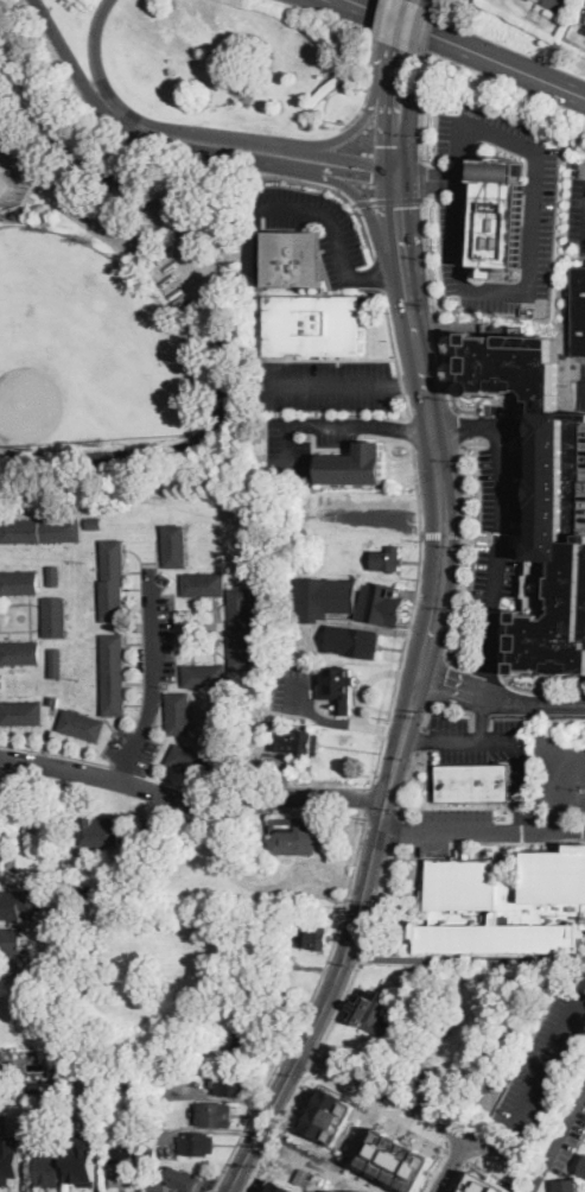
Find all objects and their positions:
building: (541, 0)
parking lot: (577, 0)
road: (553, 2)
road: (409, 24)
road: (379, 32)
road: (430, 42)
road: (469, 47)
road: (402, 63)
road: (364, 102)
road: (141, 121)
road: (421, 121)
road: (362, 123)
road: (458, 123)
road: (351, 131)
road: (147, 139)
road: (370, 141)
traffic signals: (398, 144)
road: (395, 156)
road: (338, 159)
road: (373, 167)
park: (9, 170)
road: (362, 176)
traffic signals: (371, 178)
road: (422, 178)
road: (427, 178)
traffic signals: (427, 178)
road: (339, 191)
road: (374, 192)
road: (398, 199)
road: (364, 202)
parking lot: (577, 204)
traffic signals: (399, 208)
road: (369, 214)
building: (500, 215)
road: (330, 218)
parking lot: (540, 239)
parking lot: (343, 241)
road: (428, 256)
building: (294, 259)
road: (376, 273)
road: (379, 273)
road: (215, 299)
park: (117, 304)
building: (578, 311)
building: (313, 325)
road: (439, 325)
road: (389, 331)
park: (87, 345)
road: (407, 381)
road: (449, 381)
road: (329, 382)
road: (401, 383)
parking lot: (326, 385)
road: (584, 386)
parking lot: (580, 388)
road: (406, 406)
parking lot: (500, 412)
road: (304, 423)
road: (457, 425)
road: (399, 427)
road: (508, 429)
road: (409, 431)
road: (432, 440)
parking lot: (288, 442)
road: (413, 462)
building: (354, 465)
building: (543, 502)
road: (376, 505)
parking lot: (360, 513)
building: (584, 516)
parking lot: (584, 516)
parking lot: (500, 522)
building: (95, 524)
building: (247, 527)
building: (40, 531)
road: (443, 533)
building: (176, 546)
road: (464, 550)
building: (388, 559)
road: (496, 562)
building: (53, 576)
building: (113, 581)
building: (19, 582)
building: (266, 582)
building: (203, 584)
building: (325, 598)
building: (382, 604)
building: (55, 617)
building: (241, 629)
building: (352, 641)
building: (20, 652)
road: (400, 658)
building: (56, 662)
building: (113, 674)
building: (204, 676)
road: (440, 680)
road: (151, 685)
parking lot: (294, 685)
building: (339, 687)
road: (500, 697)
building: (53, 700)
building: (21, 714)
building: (179, 714)
road: (427, 717)
road: (482, 717)
road: (336, 719)
building: (215, 722)
building: (82, 725)
building: (265, 735)
road: (420, 740)
road: (417, 741)
building: (299, 742)
road: (473, 742)
parking lot: (481, 742)
building: (191, 761)
parking lot: (558, 774)
building: (473, 782)
road: (407, 784)
road: (558, 788)
road: (369, 795)
building: (0, 800)
road: (191, 801)
building: (0, 826)
parking lot: (470, 826)
building: (101, 831)
road: (393, 832)
road: (398, 832)
road: (501, 832)
building: (294, 836)
building: (265, 842)
building: (58, 854)
building: (1, 864)
building: (221, 896)
building: (14, 902)
building: (505, 906)
building: (313, 937)
building: (11, 941)
road: (361, 951)
building: (57, 952)
road: (464, 960)
road: (33, 976)
road: (297, 978)
road: (325, 1003)
building: (449, 1003)
road: (305, 1007)
building: (373, 1014)
building: (244, 1042)
road: (552, 1057)
road: (317, 1058)
parking lot: (546, 1058)
building: (9, 1059)
building: (62, 1065)
building: (74, 1066)
building: (56, 1072)
building: (150, 1080)
building: (231, 1083)
building: (37, 1086)
road: (376, 1104)
road: (411, 1105)
building: (214, 1115)
building: (326, 1115)
building: (134, 1123)
road: (276, 1127)
road: (558, 1140)
building: (198, 1143)
building: (9, 1159)
building: (120, 1160)
building: (398, 1160)
road: (452, 1164)
building: (84, 1166)
building: (46, 1168)
building: (583, 1169)
building: (179, 1178)
building: (485, 1184)
building: (567, 1185)
road: (211, 1191)

